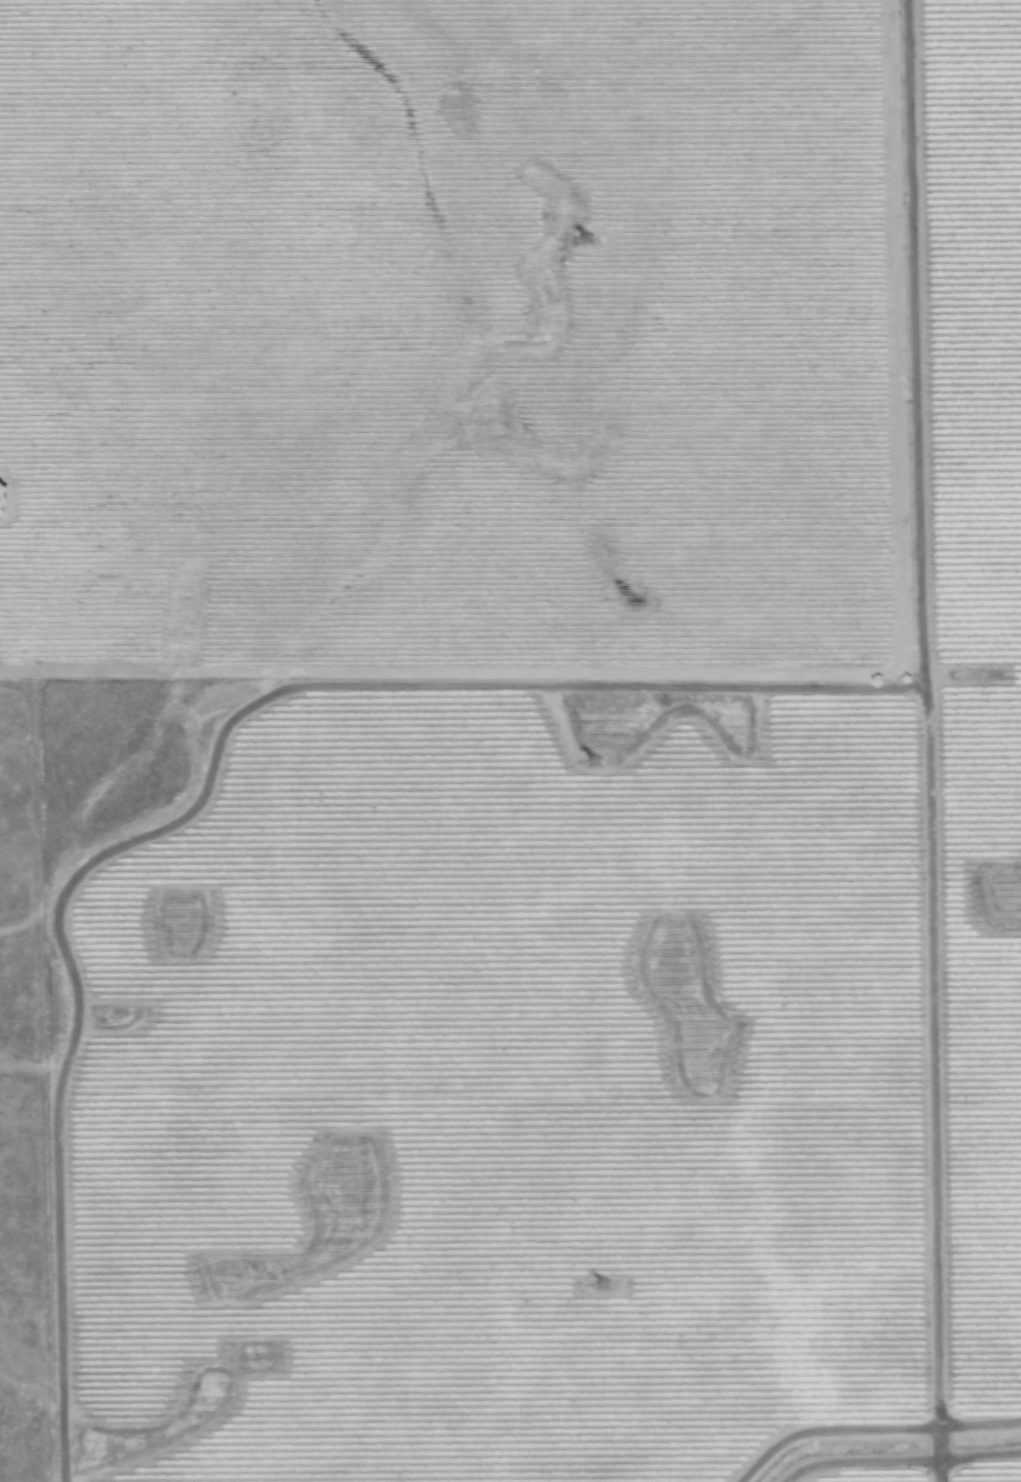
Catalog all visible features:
power tower: (593, 237)
power tower: (600, 759)
power tower: (609, 1285)
crop: (917, 1464)

